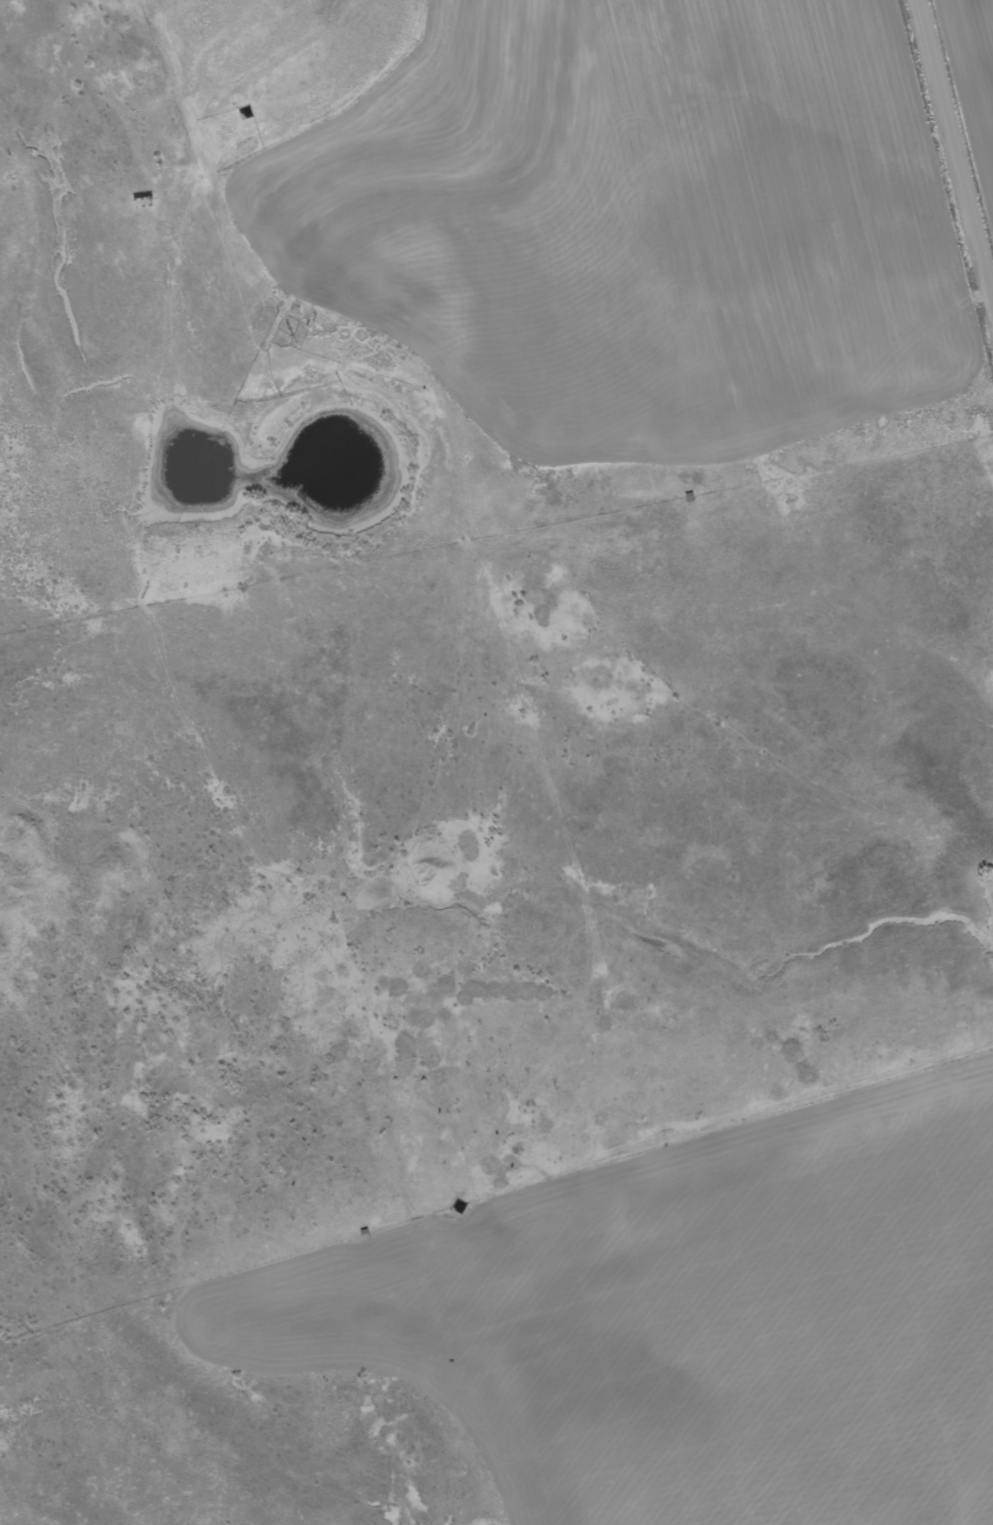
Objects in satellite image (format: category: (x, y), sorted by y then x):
road: (954, 154)

